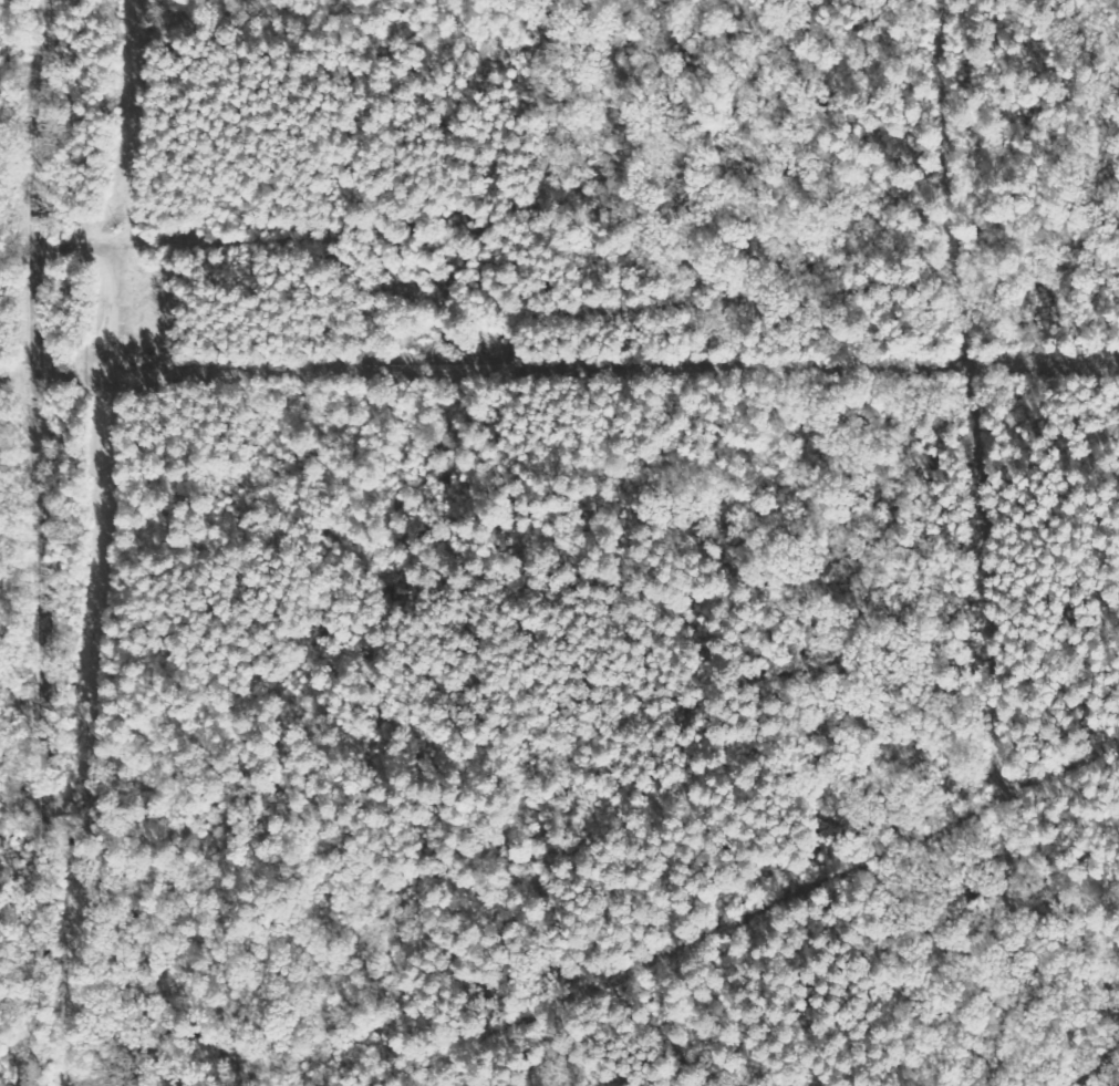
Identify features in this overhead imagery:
road: (58, 545)

